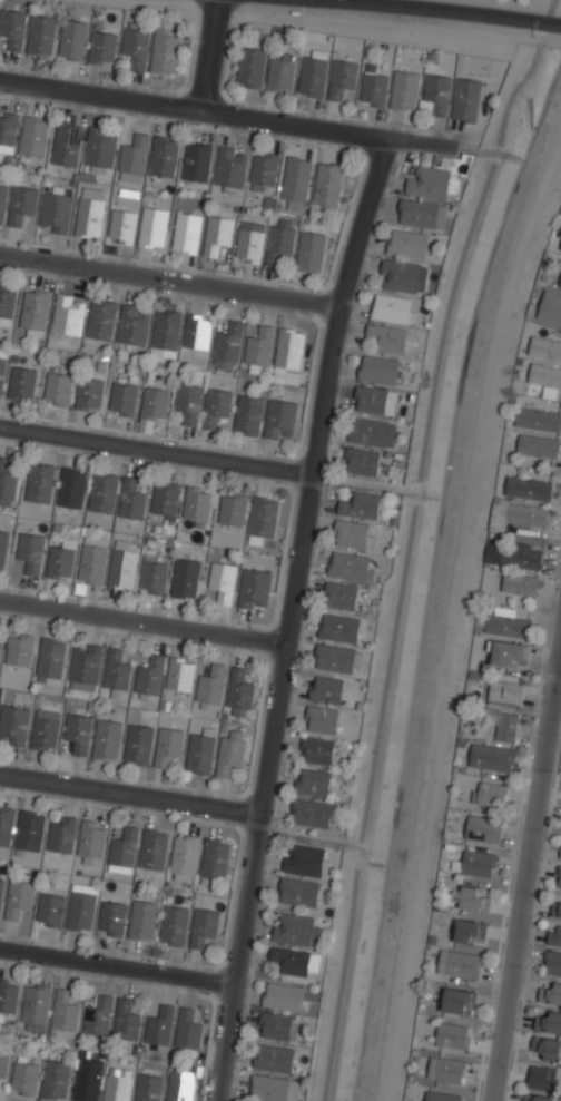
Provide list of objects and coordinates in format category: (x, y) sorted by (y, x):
road: (440, 10)
building: (13, 28)
building: (41, 35)
building: (72, 39)
building: (136, 43)
building: (102, 47)
building: (164, 50)
road: (208, 56)
building: (250, 68)
building: (280, 76)
building: (313, 77)
building: (343, 79)
building: (374, 89)
building: (404, 91)
building: (435, 95)
building: (466, 100)
road: (226, 115)
building: (8, 131)
building: (35, 136)
building: (67, 144)
building: (101, 146)
road: (475, 149)
building: (134, 156)
building: (164, 156)
building: (196, 163)
building: (230, 168)
building: (264, 171)
building: (295, 183)
building: (429, 184)
building: (328, 185)
building: (2, 199)
building: (22, 204)
building: (56, 212)
building: (419, 215)
building: (89, 218)
building: (122, 226)
building: (152, 227)
building: (186, 233)
building: (217, 235)
building: (280, 239)
building: (249, 242)
building: (407, 244)
building: (560, 247)
building: (311, 250)
building: (402, 277)
road: (170, 279)
building: (560, 284)
building: (7, 303)
building: (550, 307)
building: (35, 309)
building: (391, 309)
building: (69, 315)
building: (101, 321)
building: (134, 325)
building: (166, 331)
building: (197, 333)
building: (386, 337)
building: (228, 345)
building: (259, 347)
building: (544, 348)
building: (289, 351)
building: (2, 363)
building: (377, 370)
building: (545, 379)
building: (21, 384)
building: (58, 389)
building: (89, 393)
building: (122, 400)
building: (374, 401)
building: (188, 403)
building: (155, 404)
building: (216, 409)
building: (248, 415)
building: (539, 417)
building: (280, 420)
building: (371, 433)
building: (538, 445)
road: (156, 450)
building: (362, 462)
road: (413, 469)
building: (7, 480)
building: (40, 483)
road: (365, 483)
building: (71, 488)
building: (529, 488)
building: (104, 493)
building: (165, 499)
building: (132, 500)
building: (197, 505)
building: (363, 507)
building: (233, 508)
building: (262, 519)
building: (519, 519)
building: (352, 534)
road: (410, 542)
building: (3, 545)
building: (30, 551)
building: (520, 557)
building: (61, 559)
building: (93, 560)
building: (122, 567)
building: (352, 568)
building: (154, 577)
building: (186, 578)
building: (223, 580)
building: (519, 583)
building: (255, 589)
building: (341, 597)
road: (291, 617)
road: (144, 621)
building: (503, 623)
building: (339, 629)
building: (0, 646)
building: (19, 648)
building: (509, 653)
building: (51, 657)
building: (334, 659)
building: (85, 667)
building: (117, 672)
building: (179, 675)
building: (149, 677)
building: (210, 688)
building: (326, 690)
road: (559, 690)
building: (239, 694)
building: (504, 707)
building: (321, 720)
building: (14, 724)
building: (46, 729)
building: (78, 731)
building: (107, 739)
building: (138, 745)
building: (168, 746)
building: (230, 751)
building: (316, 751)
building: (200, 754)
building: (491, 756)
building: (313, 784)
building: (489, 794)
road: (129, 795)
building: (311, 814)
road: (353, 819)
building: (6, 827)
building: (483, 827)
building: (30, 830)
building: (61, 834)
road: (307, 838)
building: (90, 844)
building: (152, 849)
building: (124, 851)
building: (560, 854)
building: (184, 858)
building: (214, 859)
building: (304, 861)
building: (479, 863)
building: (559, 877)
road: (528, 883)
building: (1, 888)
building: (298, 893)
building: (19, 898)
building: (473, 898)
building: (557, 906)
building: (50, 908)
building: (81, 908)
building: (112, 918)
building: (142, 920)
building: (174, 926)
building: (204, 926)
building: (295, 930)
building: (470, 932)
building: (554, 935)
building: (291, 962)
building: (552, 962)
building: (460, 963)
road: (117, 966)
building: (550, 992)
building: (8, 995)
building: (283, 996)
building: (459, 1001)
building: (36, 1004)
building: (63, 1015)
building: (98, 1018)
building: (127, 1022)
building: (549, 1022)
building: (274, 1025)
building: (160, 1026)
building: (187, 1030)
building: (452, 1035)
building: (545, 1048)
building: (273, 1058)
building: (3, 1064)
building: (446, 1069)
building: (541, 1078)
building: (24, 1079)
building: (55, 1081)
building: (87, 1084)
building: (117, 1087)
building: (179, 1087)
building: (149, 1088)
building: (274, 1089)
building: (442, 1097)
building: (538, 1098)

